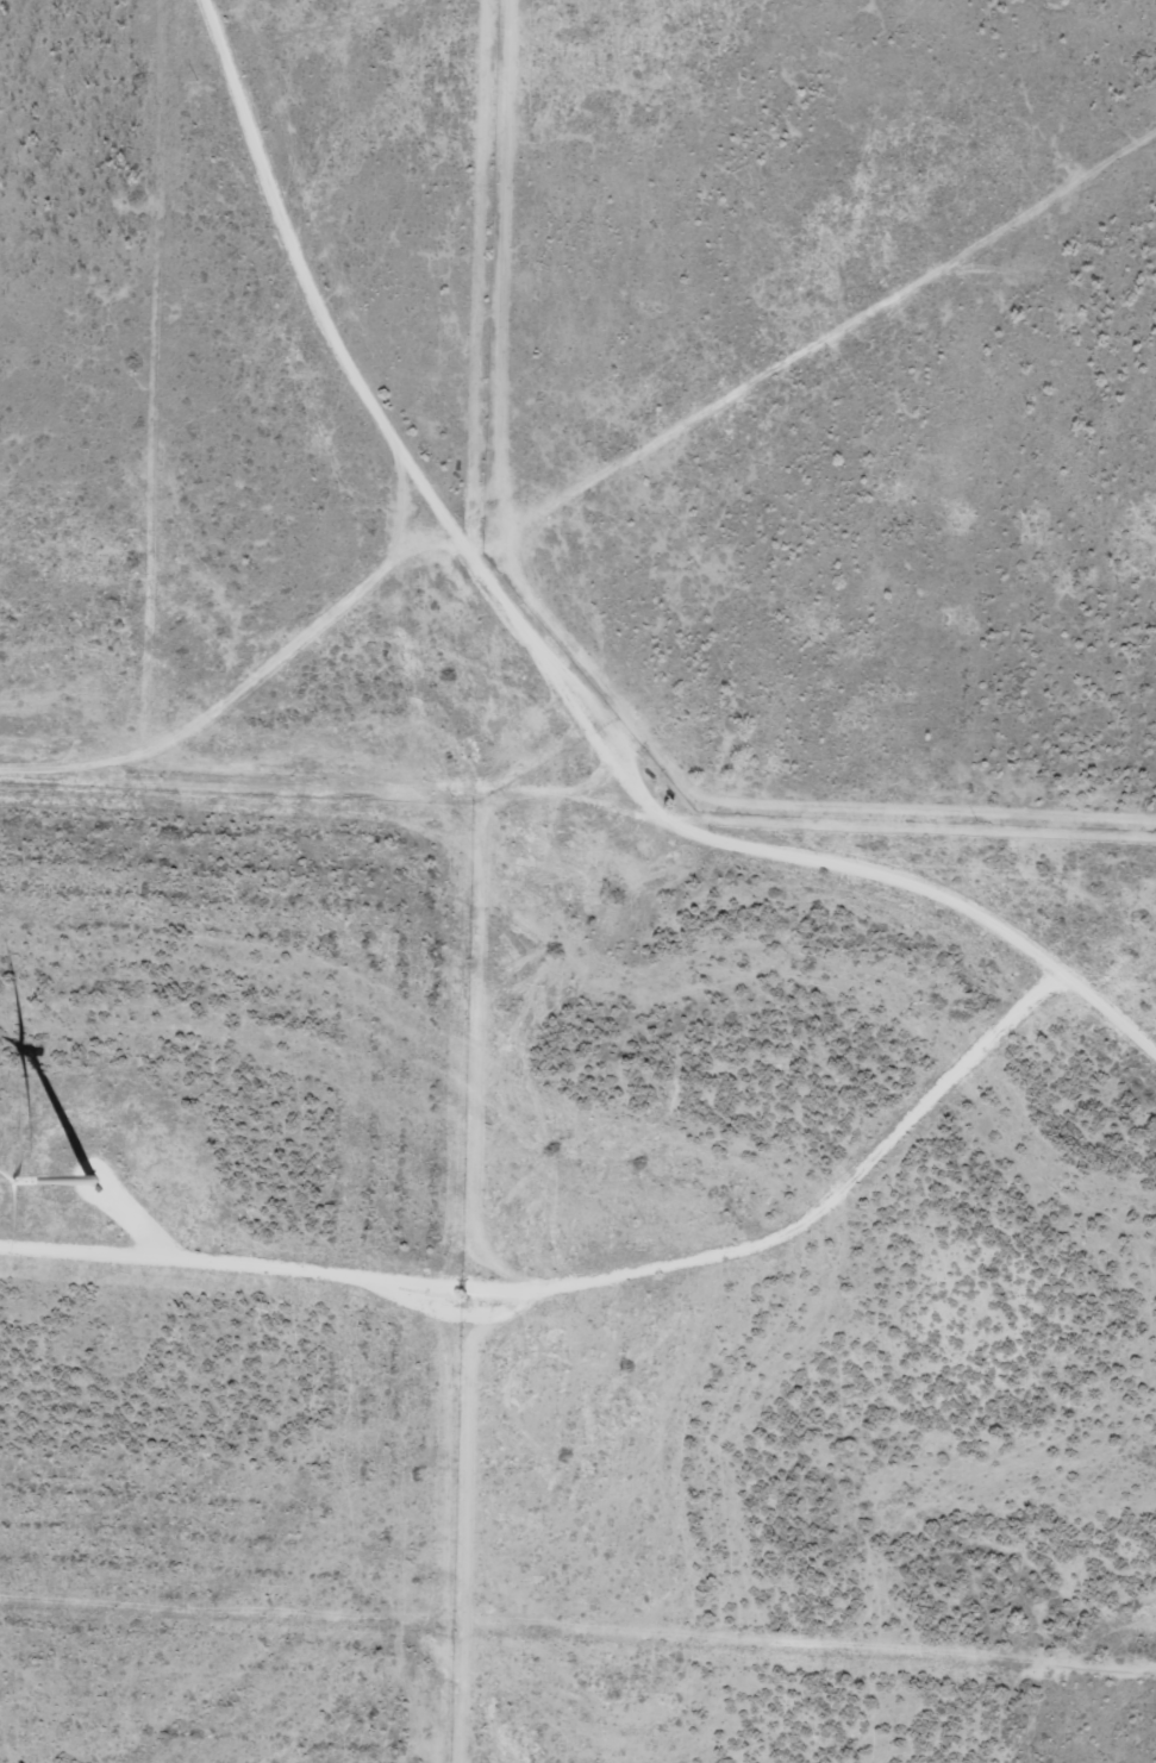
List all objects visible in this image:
road: (305, 277)
road: (277, 646)
road: (324, 807)
road: (757, 850)
wind turbine: (104, 1170)
road: (583, 1281)
road: (444, 1532)

